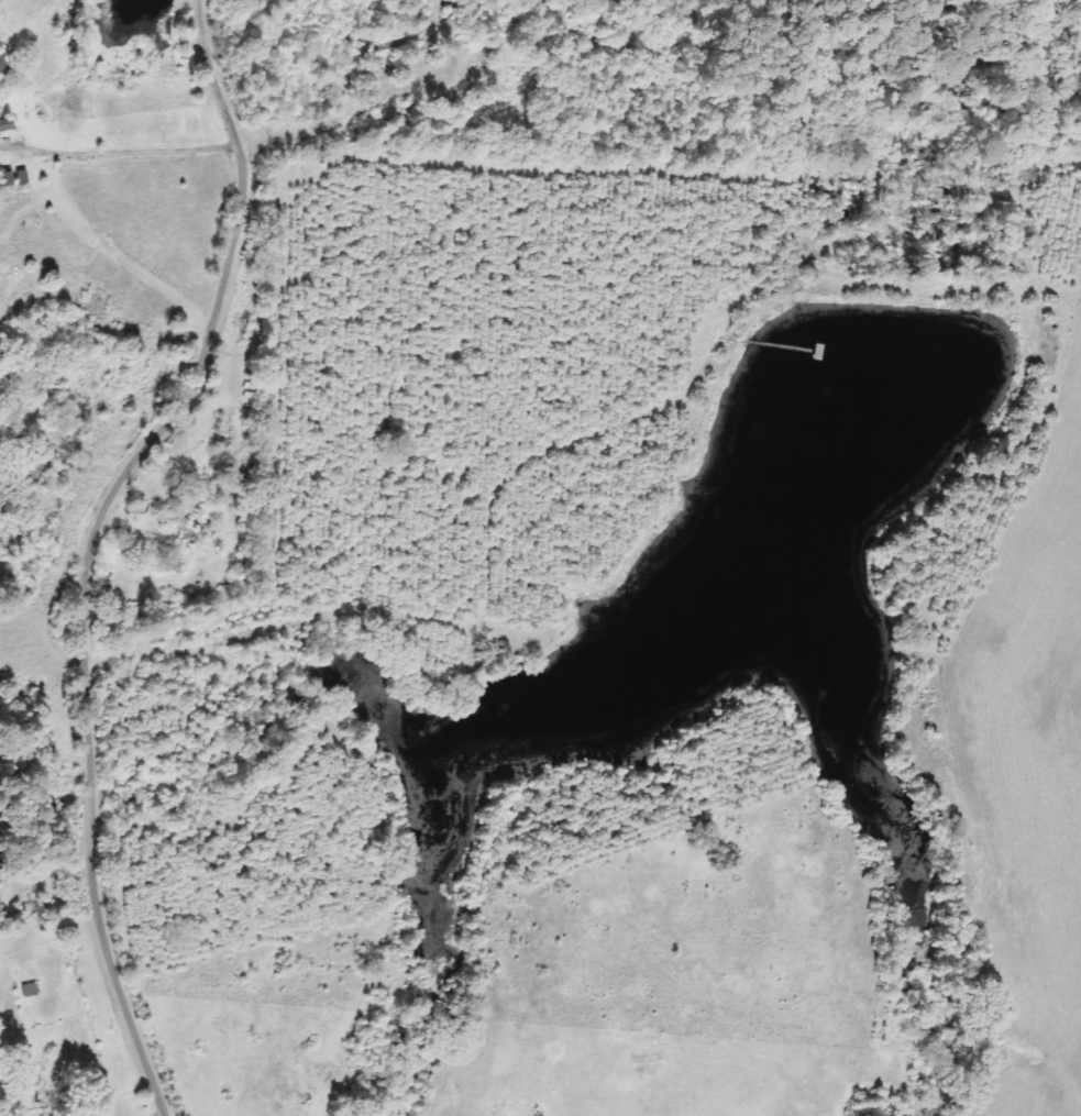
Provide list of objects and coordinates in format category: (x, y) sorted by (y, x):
building: (4, 124)
road: (90, 413)
road: (106, 549)

